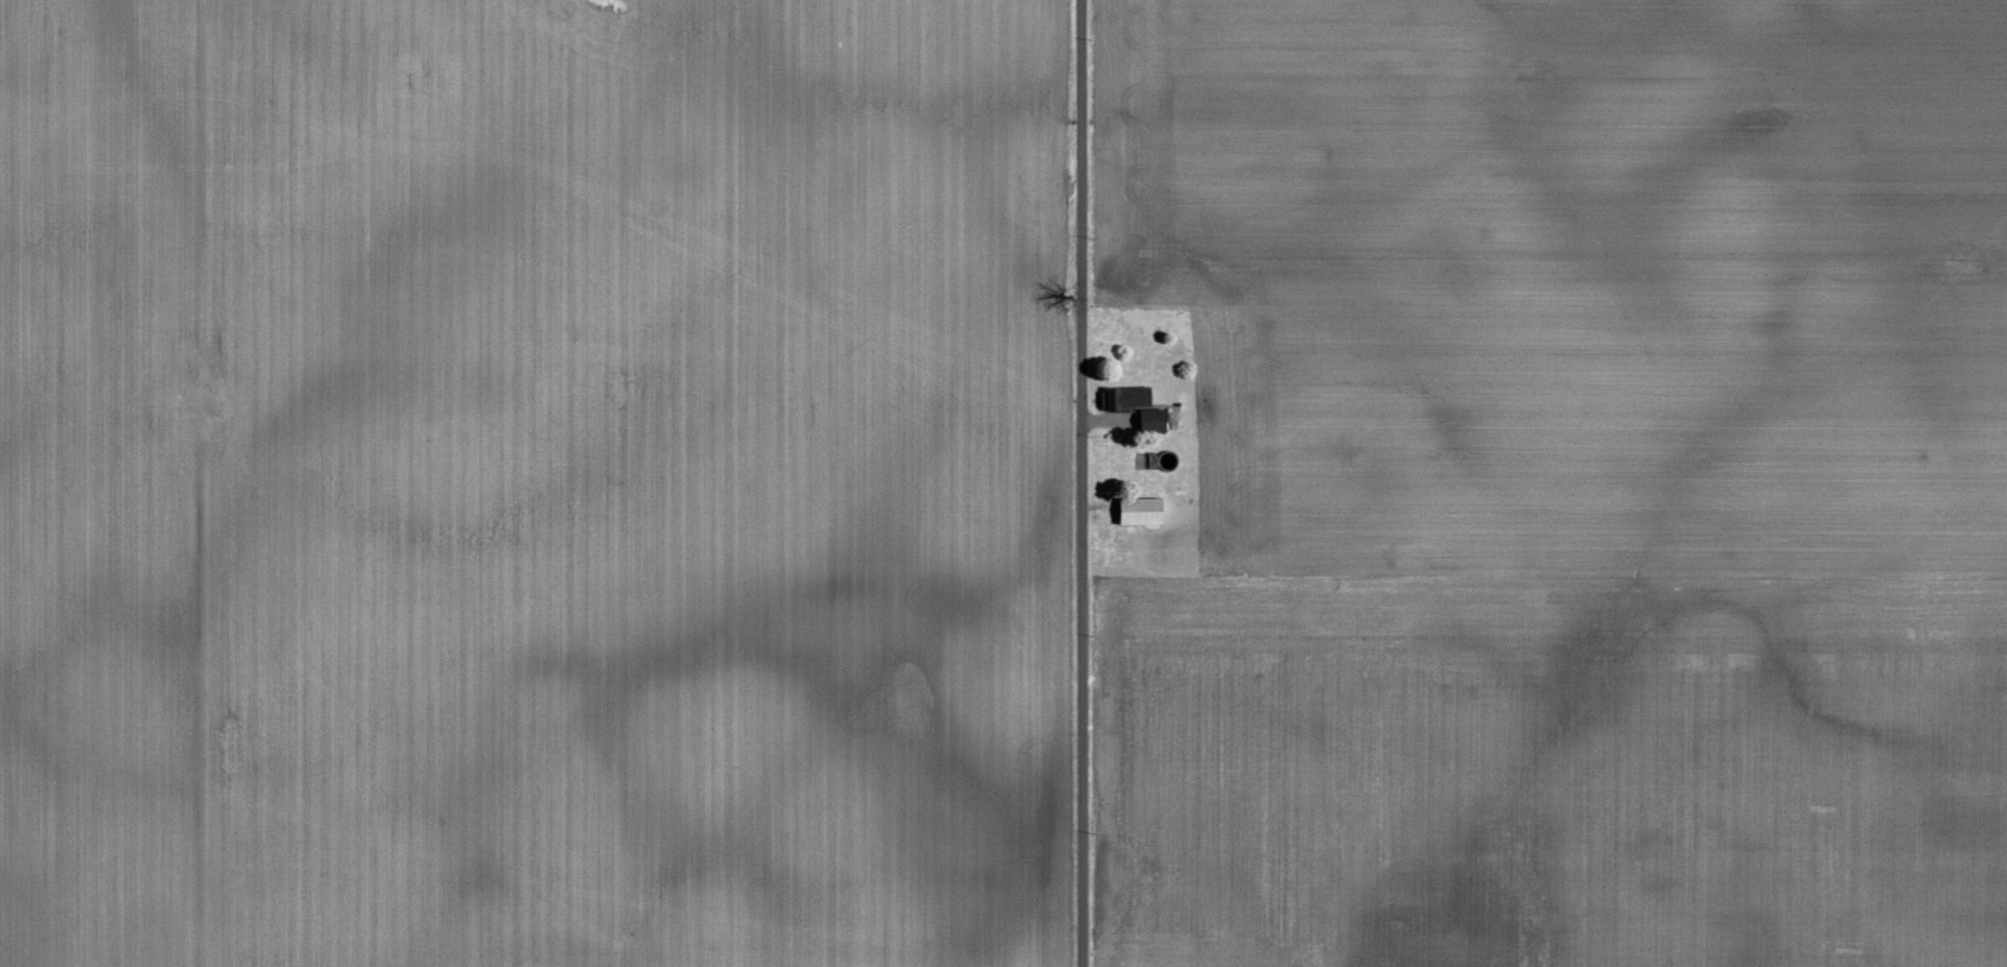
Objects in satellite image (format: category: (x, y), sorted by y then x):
road: (1080, 483)
building: (1143, 512)

